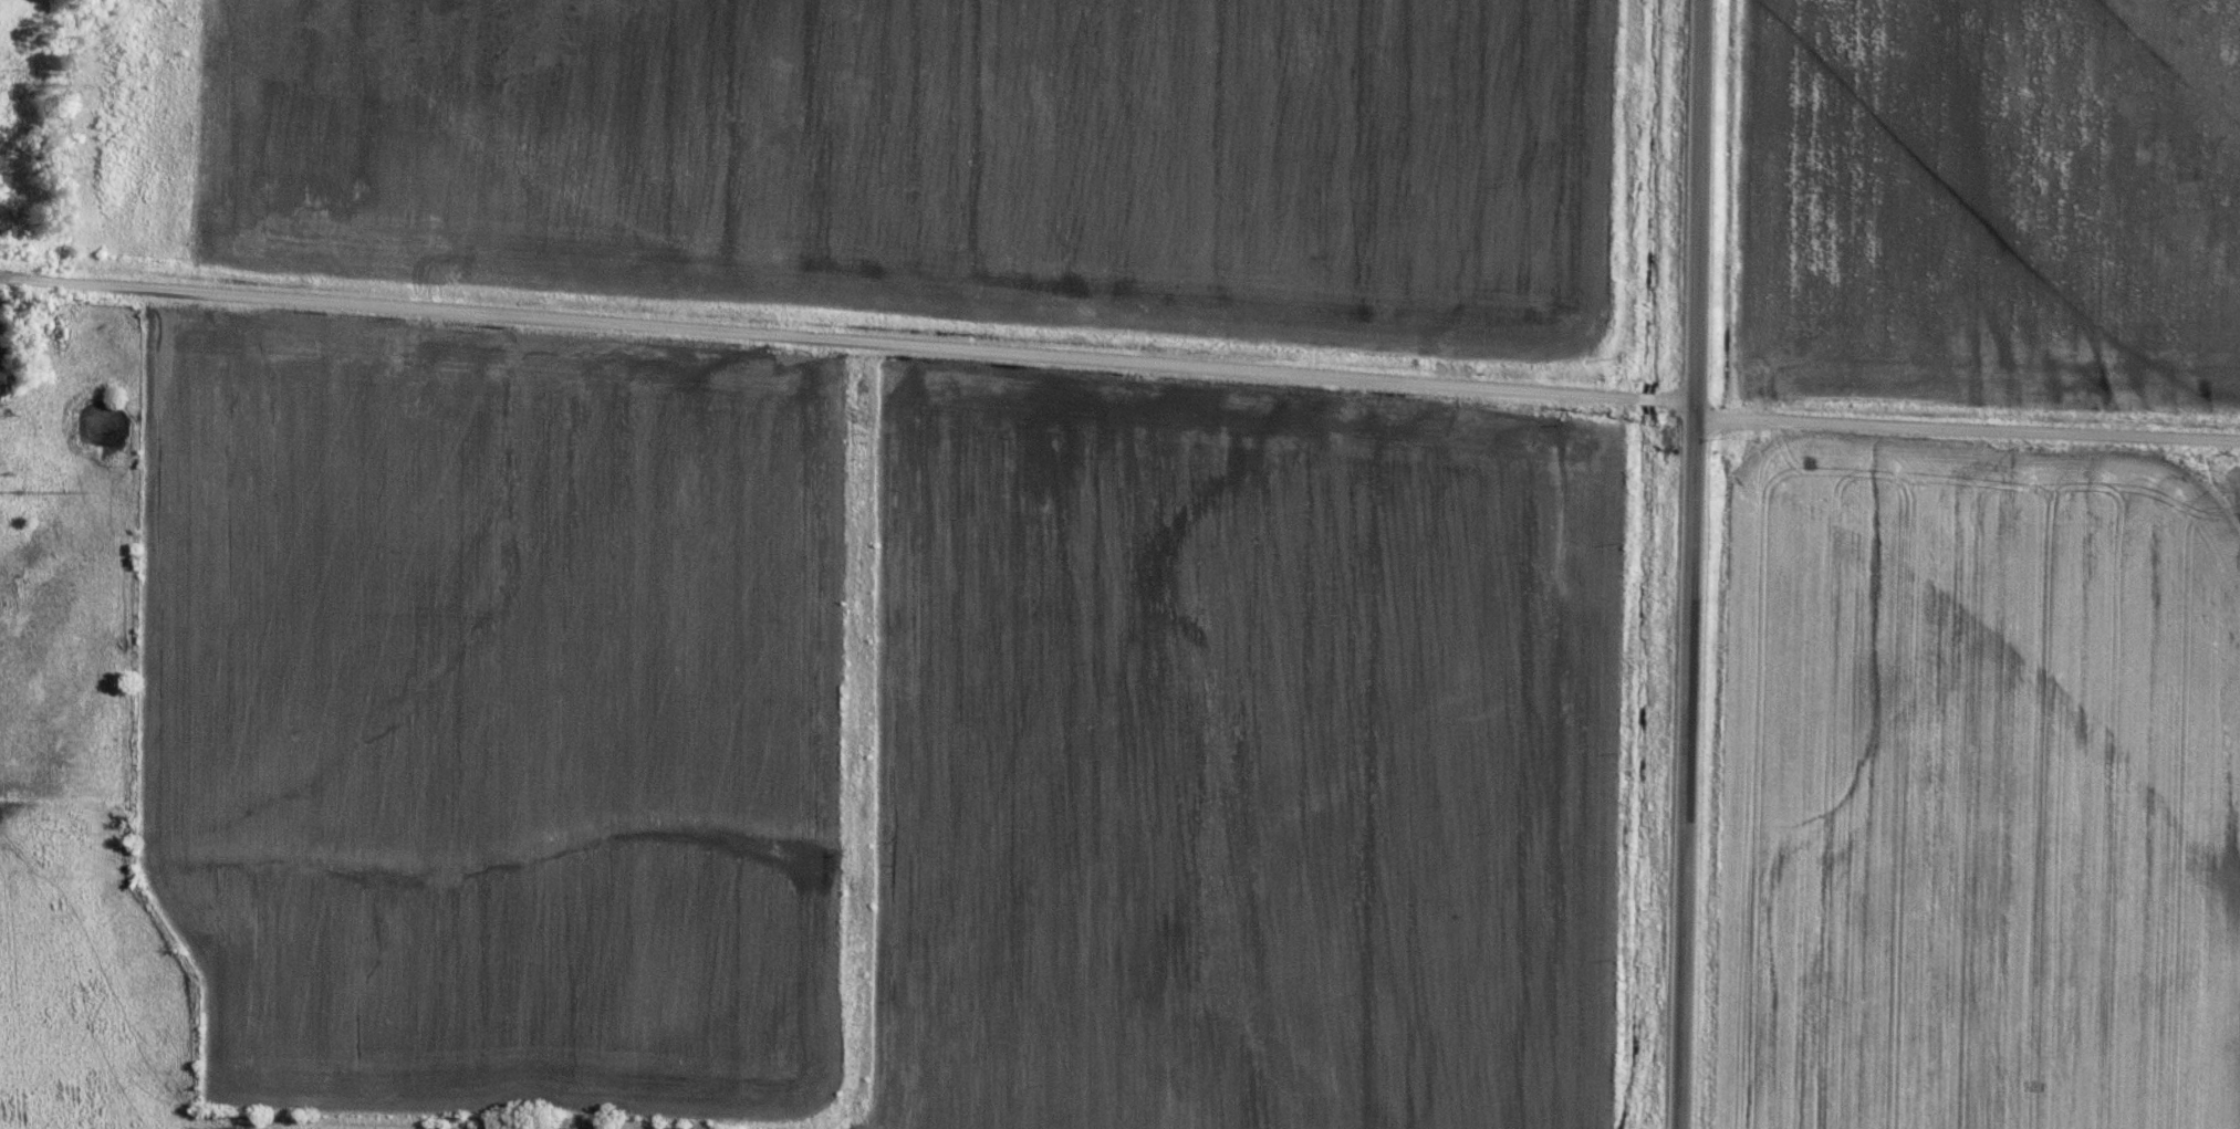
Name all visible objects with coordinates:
road: (847, 337)
road: (1967, 426)
road: (1692, 564)

